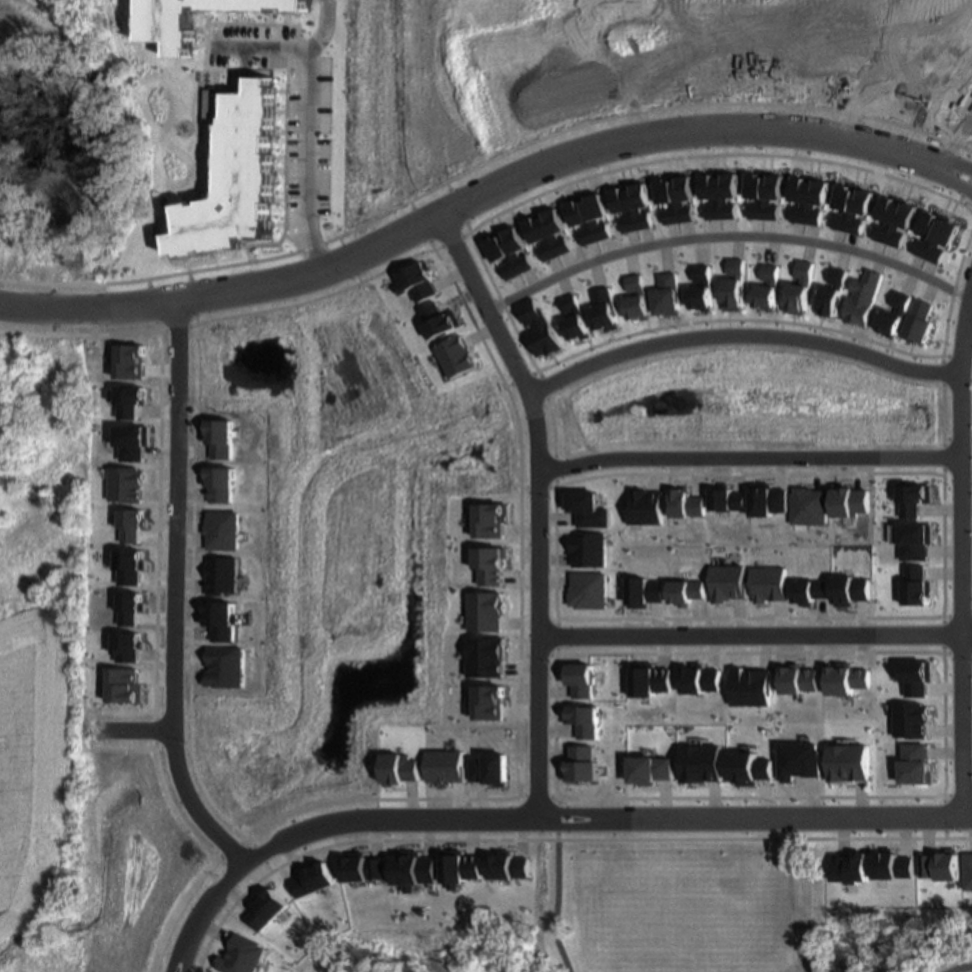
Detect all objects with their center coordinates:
building: (172, 27)
road: (311, 118)
road: (954, 160)
building: (245, 177)
road: (950, 178)
building: (728, 193)
building: (712, 194)
building: (757, 194)
building: (773, 194)
building: (685, 196)
building: (800, 198)
building: (669, 199)
building: (817, 199)
road: (466, 201)
building: (641, 204)
building: (844, 205)
building: (626, 207)
building: (859, 209)
building: (598, 215)
building: (887, 218)
building: (583, 219)
building: (902, 222)
building: (557, 230)
road: (732, 232)
building: (928, 232)
building: (0, 236)
building: (542, 237)
building: (942, 238)
building: (517, 248)
building: (503, 255)
building: (420, 281)
building: (735, 285)
building: (702, 288)
building: (768, 288)
building: (800, 288)
building: (833, 292)
building: (668, 295)
building: (639, 297)
building: (863, 297)
road: (489, 300)
building: (606, 310)
building: (895, 313)
building: (577, 318)
building: (440, 320)
building: (919, 322)
building: (541, 329)
road: (741, 334)
building: (457, 356)
building: (131, 361)
building: (128, 399)
building: (222, 437)
building: (133, 441)
road: (748, 458)
building: (222, 483)
building: (126, 484)
building: (914, 498)
building: (725, 499)
building: (766, 499)
building: (849, 501)
building: (684, 503)
building: (644, 506)
building: (809, 506)
building: (588, 509)
building: (491, 519)
building: (133, 524)
building: (224, 530)
building: (915, 540)
building: (587, 549)
road: (960, 556)
building: (490, 564)
building: (132, 566)
building: (224, 575)
building: (727, 582)
building: (768, 584)
building: (916, 585)
building: (587, 590)
building: (809, 590)
building: (849, 590)
building: (644, 591)
building: (685, 591)
road: (173, 592)
road: (537, 602)
building: (132, 608)
building: (486, 611)
building: (223, 619)
road: (754, 633)
building: (131, 646)
building: (487, 656)
building: (228, 667)
building: (916, 677)
building: (650, 679)
building: (700, 679)
building: (797, 679)
building: (845, 679)
building: (582, 680)
building: (128, 685)
building: (749, 686)
building: (491, 702)
building: (584, 719)
building: (910, 720)
road: (141, 727)
building: (798, 760)
building: (848, 762)
building: (584, 763)
building: (701, 763)
building: (915, 764)
building: (446, 766)
building: (748, 767)
building: (400, 768)
building: (491, 769)
building: (650, 769)
road: (944, 773)
road: (634, 797)
road: (538, 816)
road: (627, 838)
building: (889, 865)
building: (937, 865)
building: (508, 866)
building: (361, 867)
building: (459, 867)
building: (849, 867)
building: (412, 868)
building: (966, 871)
building: (313, 880)
road: (560, 904)
building: (267, 909)
park: (676, 915)
building: (243, 955)
road: (962, 970)

